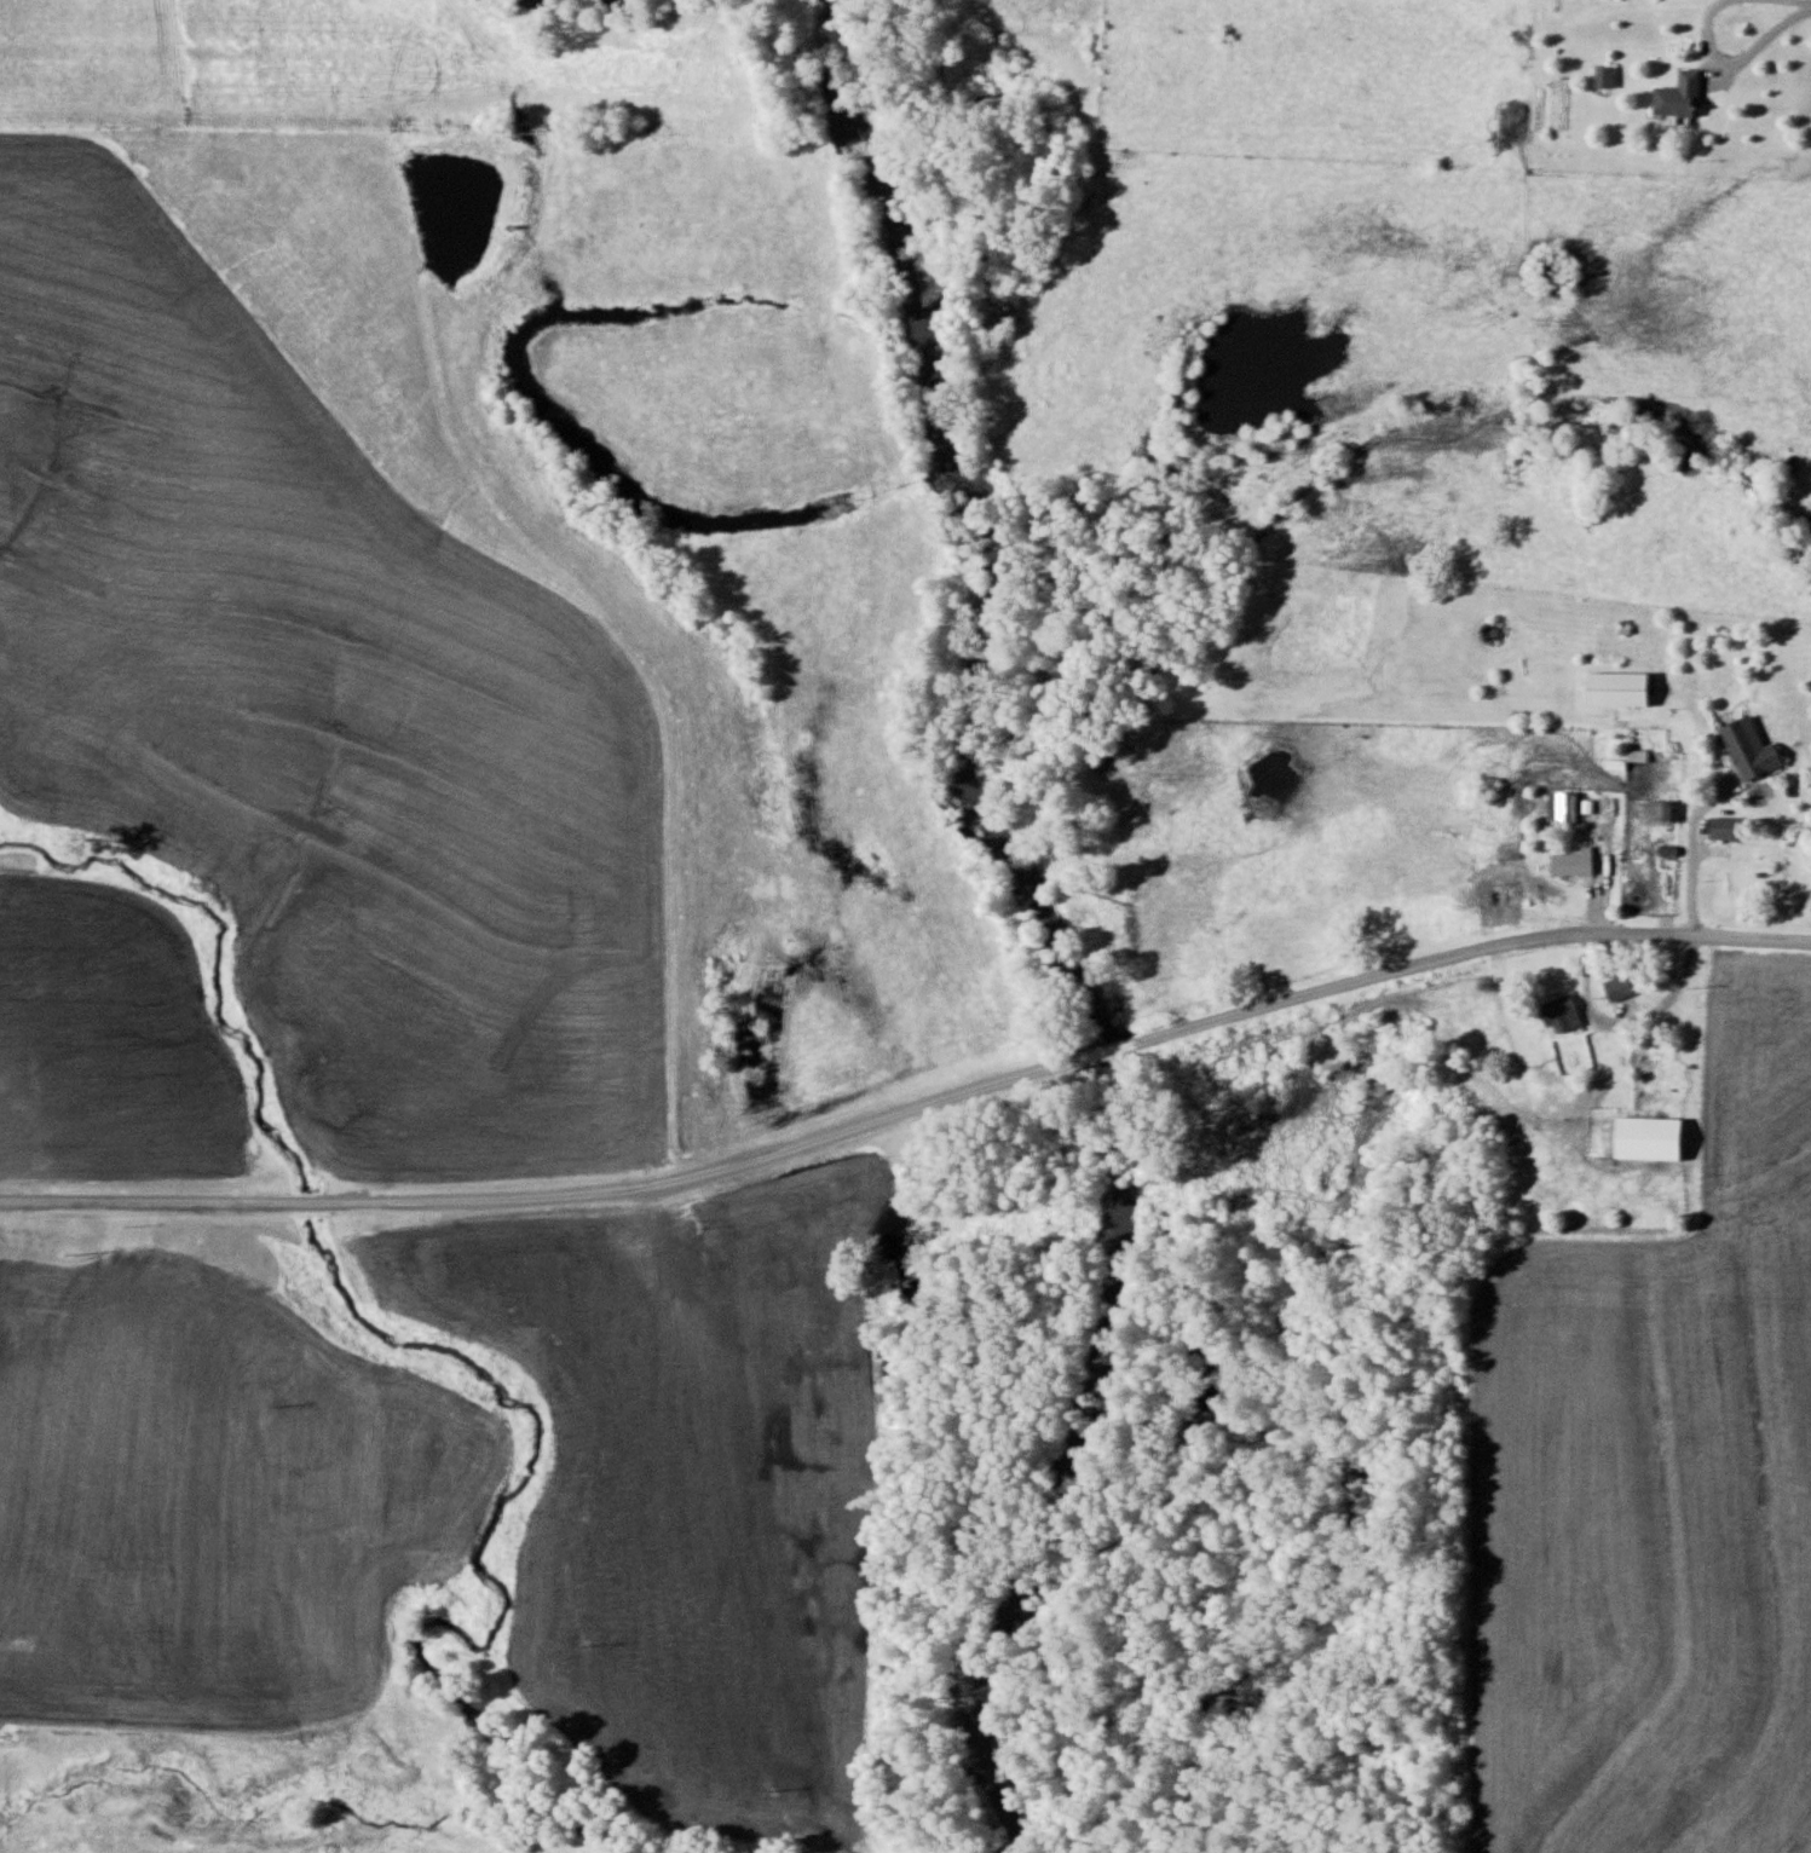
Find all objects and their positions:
building: (1604, 77)
building: (1679, 97)
building: (1620, 688)
building: (1751, 749)
building: (1668, 864)
building: (1573, 865)
building: (1353, 894)
road: (1470, 956)
building: (1617, 988)
building: (1561, 1015)
road: (1106, 1054)
road: (546, 1201)

